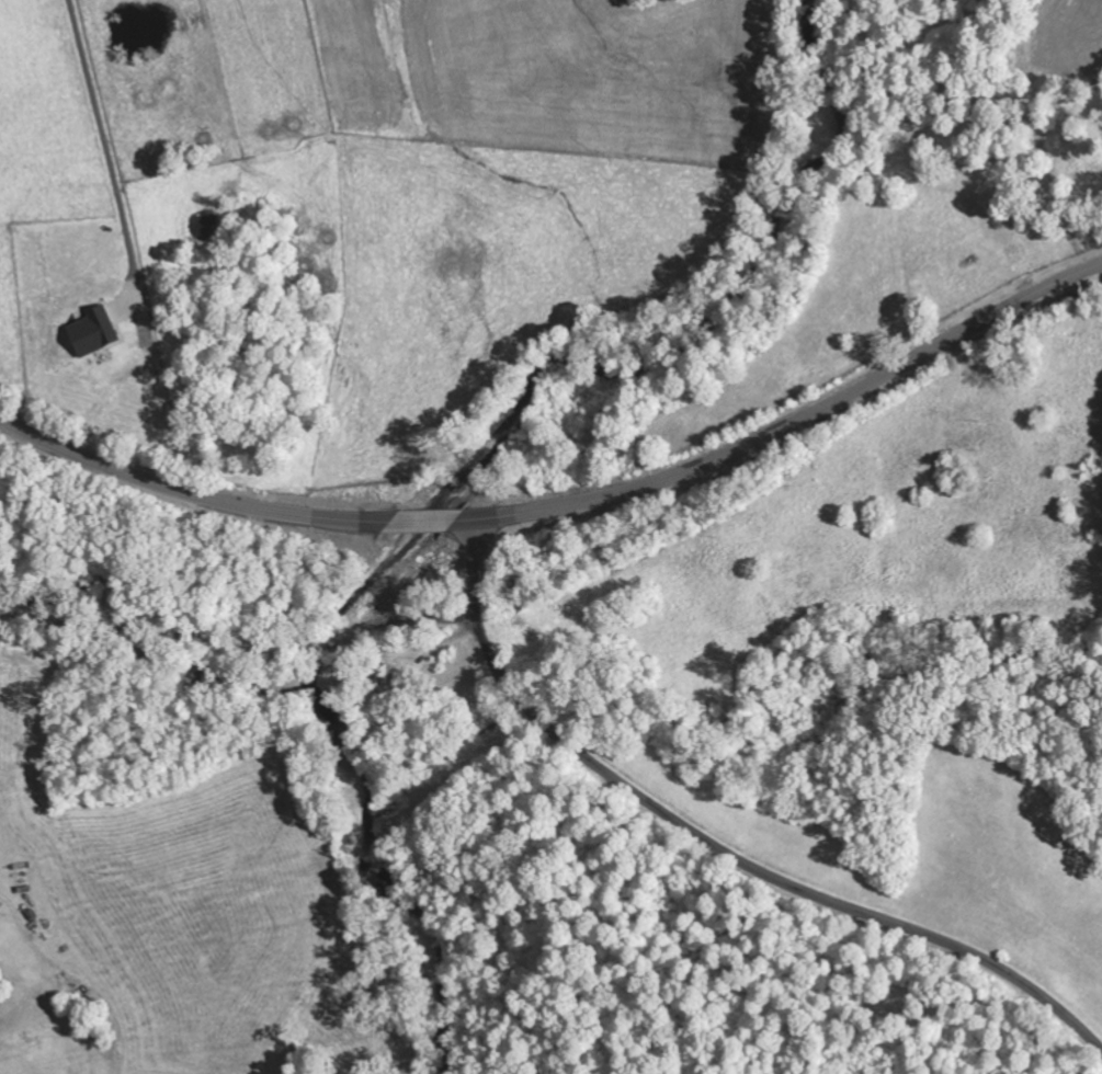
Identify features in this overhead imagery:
building: (95, 332)
road: (792, 423)
road: (223, 501)
road: (469, 573)
road: (413, 625)
road: (174, 635)
road: (766, 869)

